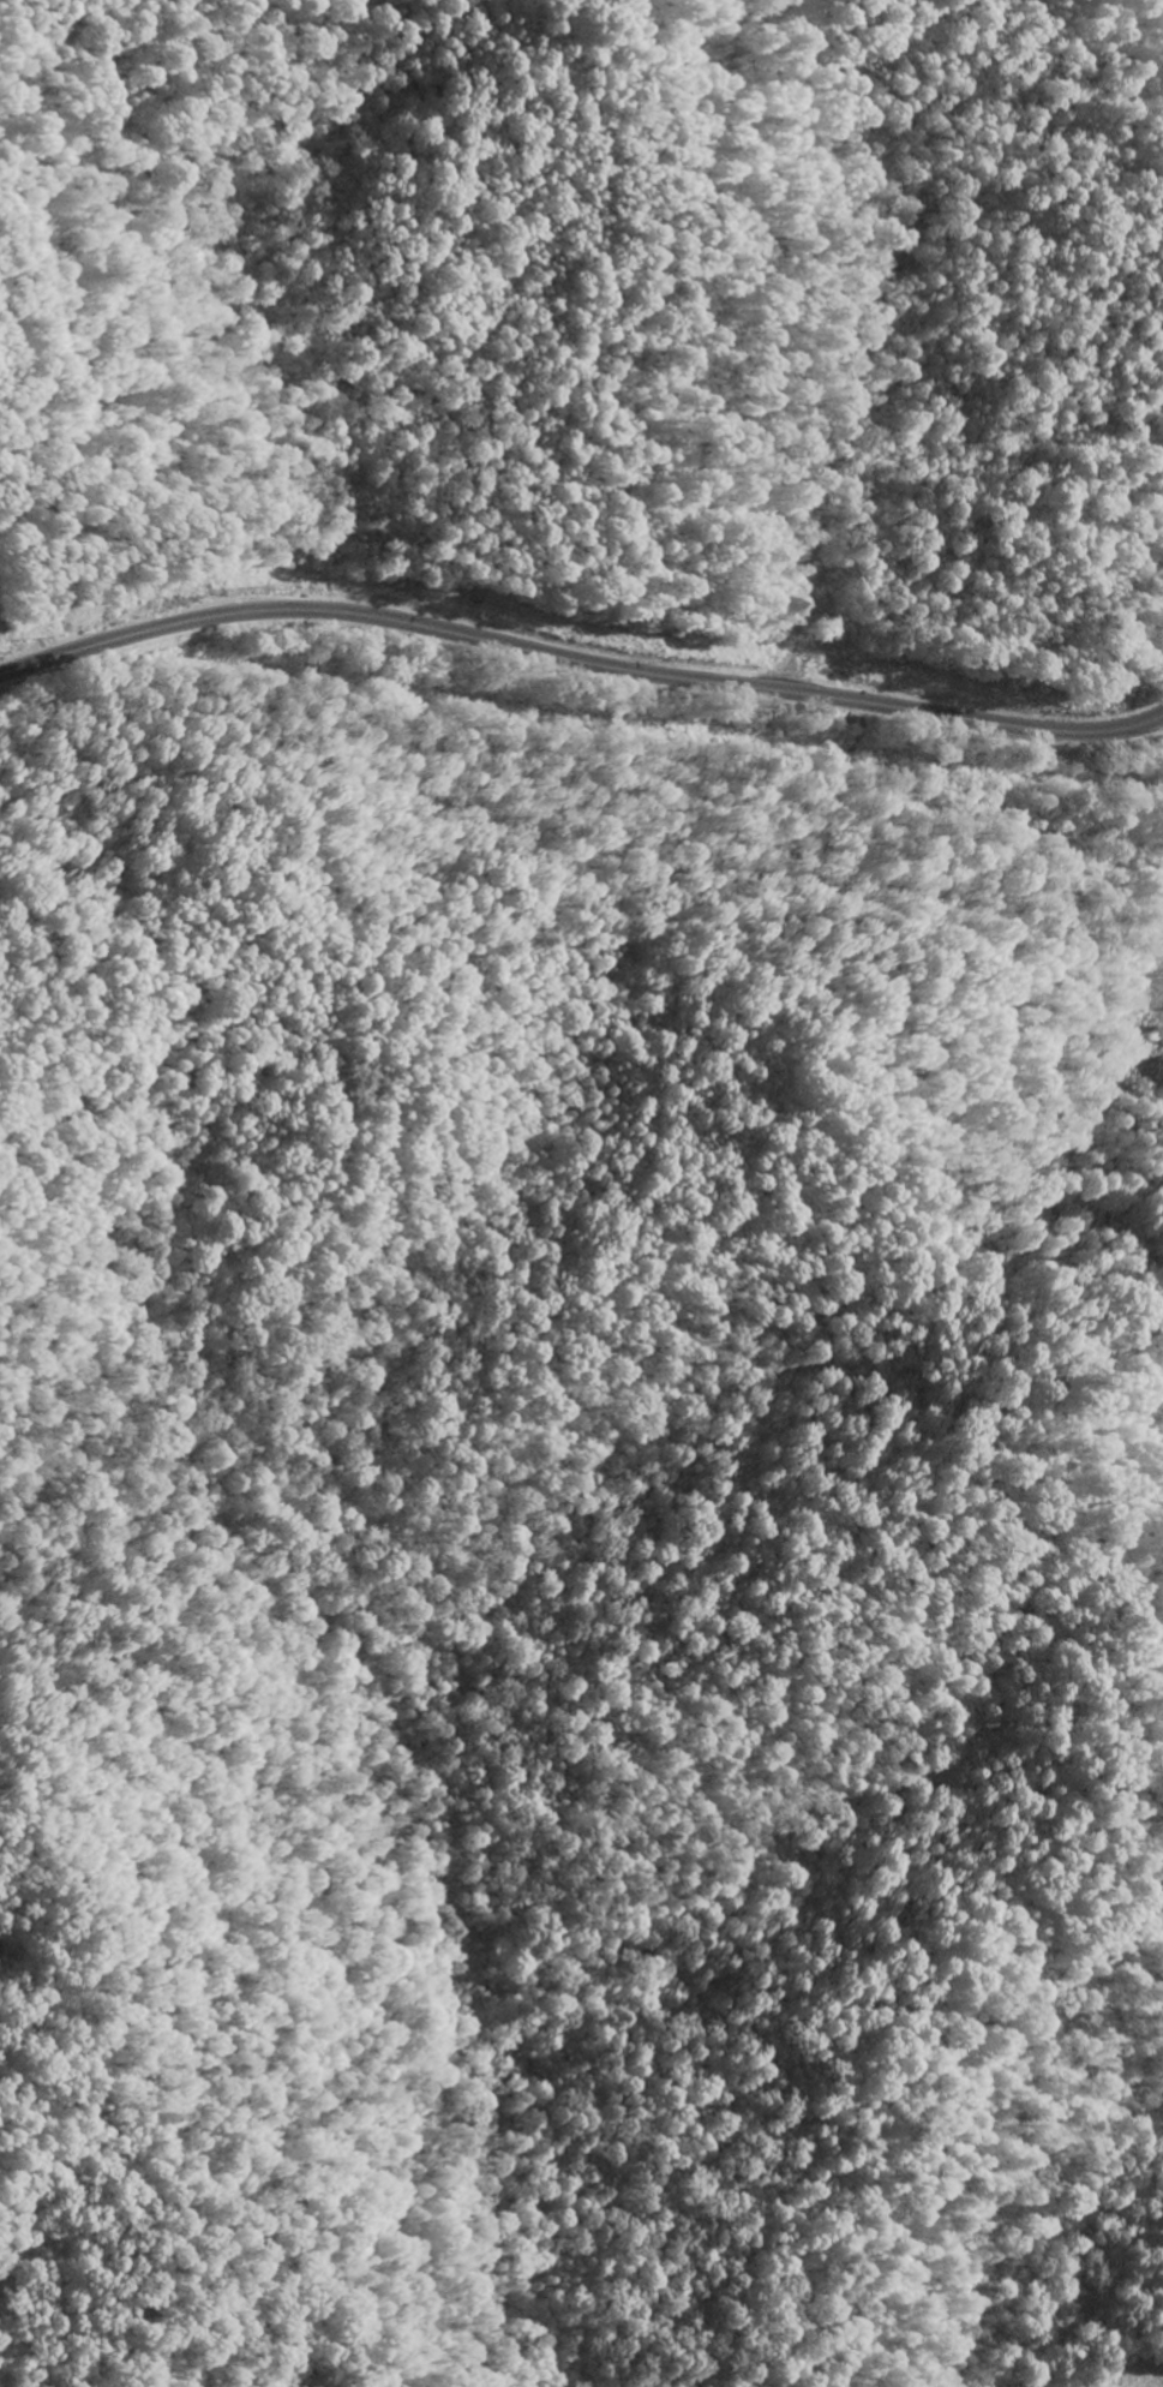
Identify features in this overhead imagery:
road: (578, 659)
road: (1079, 759)

